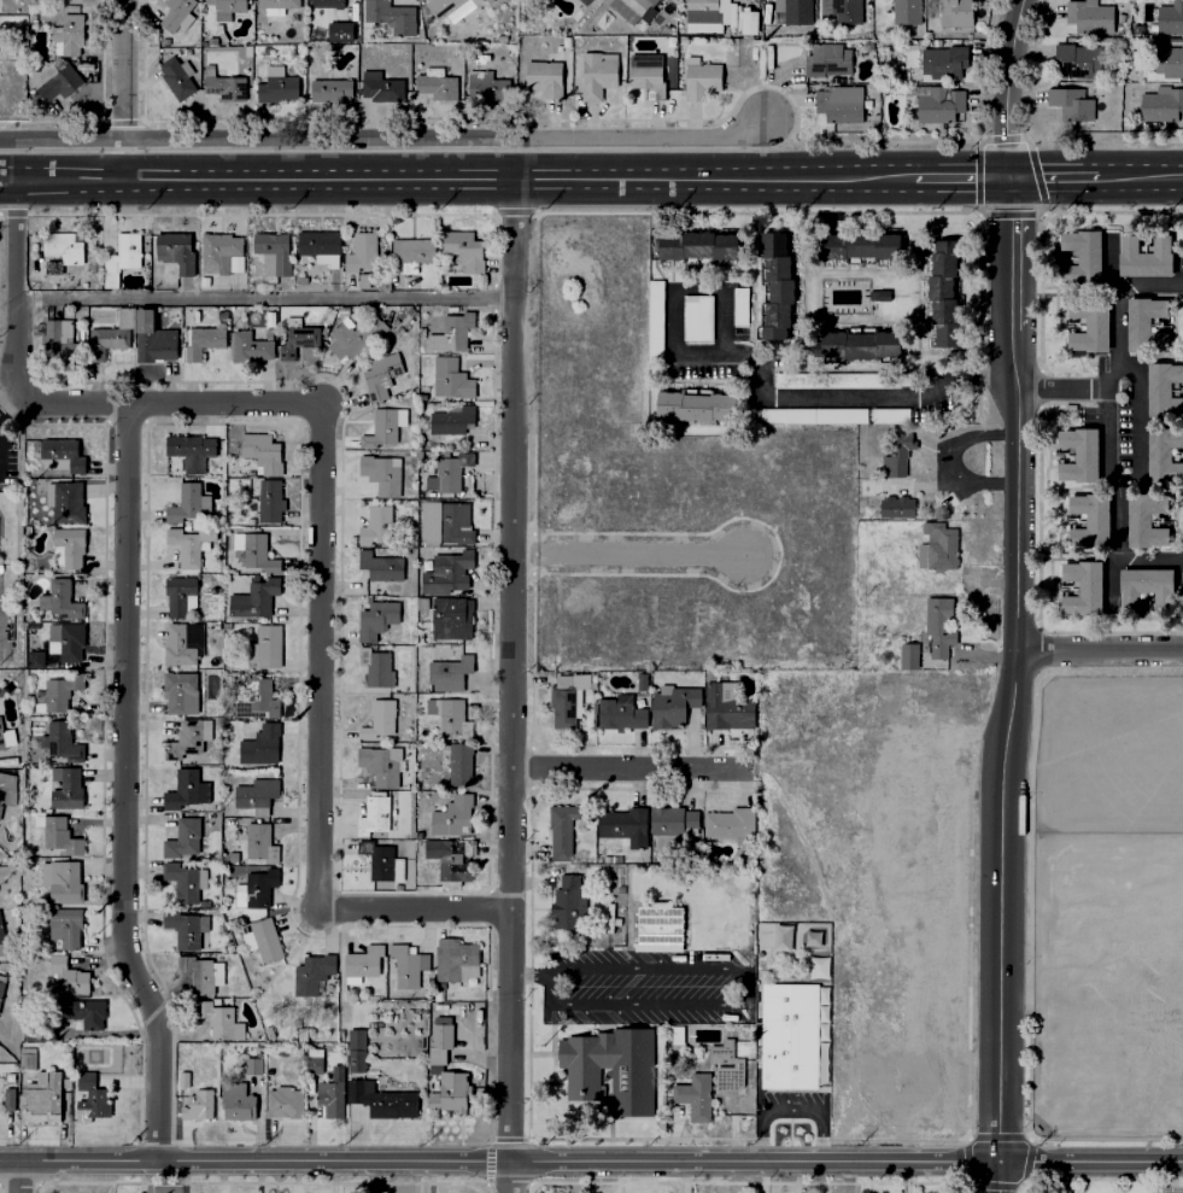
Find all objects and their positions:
building: (488, 0)
building: (584, 0)
building: (275, 5)
building: (226, 6)
building: (338, 6)
building: (627, 7)
building: (450, 8)
building: (841, 8)
building: (701, 10)
building: (790, 10)
building: (903, 11)
building: (175, 13)
building: (391, 14)
building: (1088, 14)
building: (1169, 14)
building: (954, 16)
building: (748, 23)
building: (315, 30)
building: (66, 33)
building: (339, 33)
building: (1072, 57)
building: (826, 58)
building: (1167, 59)
building: (938, 60)
building: (596, 71)
building: (643, 71)
building: (176, 74)
building: (545, 75)
building: (55, 78)
building: (697, 78)
building: (222, 81)
building: (434, 83)
building: (486, 83)
building: (379, 84)
road: (1007, 86)
building: (276, 87)
road: (123, 88)
building: (329, 89)
building: (1068, 101)
building: (1160, 101)
building: (836, 103)
building: (937, 103)
road: (385, 139)
road: (1140, 174)
road: (961, 175)
traffic signals: (1011, 175)
road: (1053, 175)
road: (456, 176)
building: (851, 241)
building: (318, 244)
building: (62, 245)
building: (699, 246)
building: (174, 248)
building: (463, 248)
building: (218, 250)
building: (271, 250)
building: (361, 250)
building: (410, 252)
building: (1072, 252)
building: (1144, 255)
building: (119, 256)
building: (235, 264)
building: (371, 279)
building: (779, 285)
building: (938, 288)
building: (878, 293)
road: (260, 302)
building: (737, 304)
building: (695, 316)
building: (142, 318)
building: (652, 318)
building: (1142, 320)
building: (1088, 324)
building: (452, 331)
building: (295, 335)
building: (54, 338)
building: (104, 339)
building: (203, 339)
building: (345, 339)
building: (853, 341)
building: (250, 344)
road: (12, 345)
building: (152, 347)
building: (380, 375)
road: (759, 375)
building: (449, 376)
building: (839, 379)
building: (1161, 385)
road: (1066, 388)
road: (6, 403)
building: (696, 407)
building: (824, 414)
building: (451, 419)
road: (1113, 425)
building: (387, 429)
building: (189, 449)
building: (259, 450)
building: (1161, 450)
building: (1073, 451)
building: (59, 452)
building: (895, 454)
building: (382, 472)
building: (447, 473)
building: (65, 501)
building: (186, 501)
building: (265, 503)
building: (894, 505)
building: (1142, 515)
building: (1084, 516)
building: (375, 522)
building: (446, 525)
building: (188, 543)
building: (68, 545)
building: (935, 545)
building: (254, 548)
road: (627, 557)
building: (380, 568)
building: (447, 572)
building: (1077, 584)
building: (1141, 585)
building: (180, 593)
building: (59, 597)
building: (254, 598)
building: (878, 604)
building: (375, 616)
building: (451, 620)
building: (936, 624)
parking lot: (6, 631)
building: (65, 641)
building: (181, 643)
building: (265, 648)
road: (1099, 651)
building: (907, 654)
building: (34, 656)
road: (317, 657)
building: (375, 666)
building: (449, 668)
road: (1009, 683)
road: (508, 684)
building: (180, 690)
building: (48, 691)
building: (259, 695)
building: (563, 703)
building: (669, 703)
building: (724, 704)
building: (619, 712)
building: (449, 714)
building: (377, 718)
building: (187, 737)
building: (1, 739)
building: (62, 739)
building: (259, 743)
park: (1108, 754)
building: (457, 761)
building: (380, 764)
road: (629, 770)
building: (64, 785)
building: (6, 786)
road: (122, 786)
building: (181, 788)
building: (254, 794)
building: (375, 813)
building: (451, 814)
building: (670, 819)
building: (623, 824)
building: (728, 824)
building: (557, 829)
building: (57, 832)
building: (185, 836)
building: (258, 842)
building: (447, 856)
building: (381, 860)
building: (182, 879)
building: (63, 881)
building: (254, 888)
building: (617, 889)
building: (564, 901)
building: (64, 925)
building: (186, 928)
building: (660, 930)
building: (1, 935)
building: (262, 938)
building: (455, 959)
building: (361, 961)
building: (406, 964)
building: (816, 967)
building: (201, 973)
building: (65, 975)
building: (315, 975)
road: (528, 975)
building: (1, 981)
road: (1038, 984)
road: (1077, 984)
parking lot: (1107, 984)
road: (1120, 984)
road: (1162, 984)
parking lot: (645, 987)
road: (745, 1001)
road: (1089, 1001)
building: (80, 1012)
building: (217, 1019)
building: (295, 1022)
building: (300, 1033)
building: (674, 1033)
building: (789, 1037)
building: (438, 1043)
building: (356, 1048)
building: (294, 1051)
building: (314, 1059)
building: (252, 1064)
building: (724, 1065)
building: (182, 1075)
building: (628, 1075)
building: (27, 1077)
building: (332, 1093)
building: (450, 1093)
building: (86, 1095)
building: (7, 1096)
building: (42, 1098)
building: (380, 1098)
building: (691, 1099)
building: (235, 1100)
building: (282, 1101)
building: (197, 1104)
road: (791, 1112)
road: (1105, 1139)
road: (591, 1162)
road: (1023, 1162)
road: (847, 1176)
road: (17, 1177)
road: (1169, 1177)
road: (1101, 1180)
road: (1056, 1186)
parking lot: (1162, 1192)

